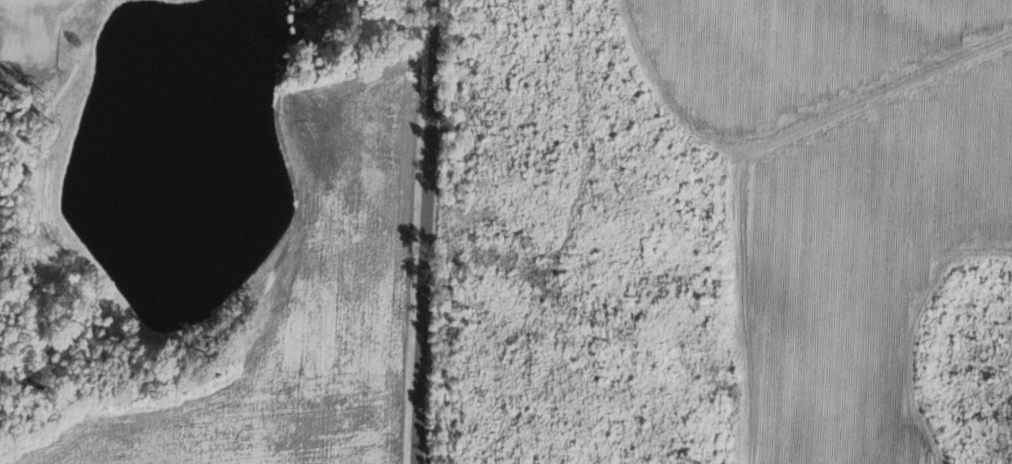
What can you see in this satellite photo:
road: (423, 231)

